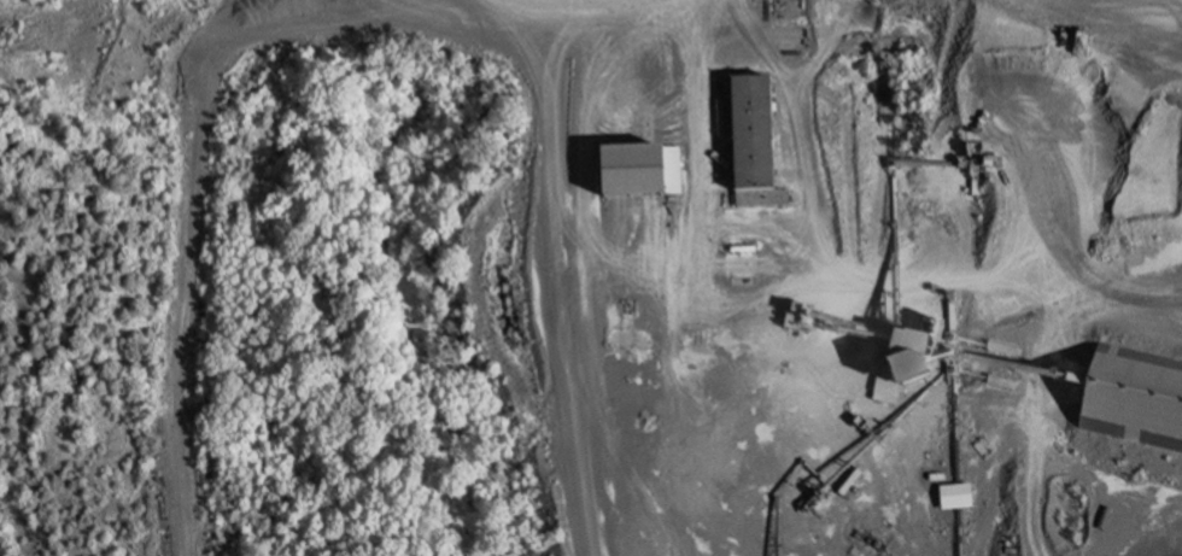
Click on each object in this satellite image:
road: (1116, 6)
road: (564, 23)
building: (760, 134)
road: (796, 135)
road: (690, 144)
road: (188, 151)
building: (650, 159)
building: (557, 183)
building: (561, 206)
road: (660, 263)
quarry: (653, 268)
road: (809, 285)
road: (556, 288)
road: (1037, 414)
road: (613, 427)
building: (960, 497)

